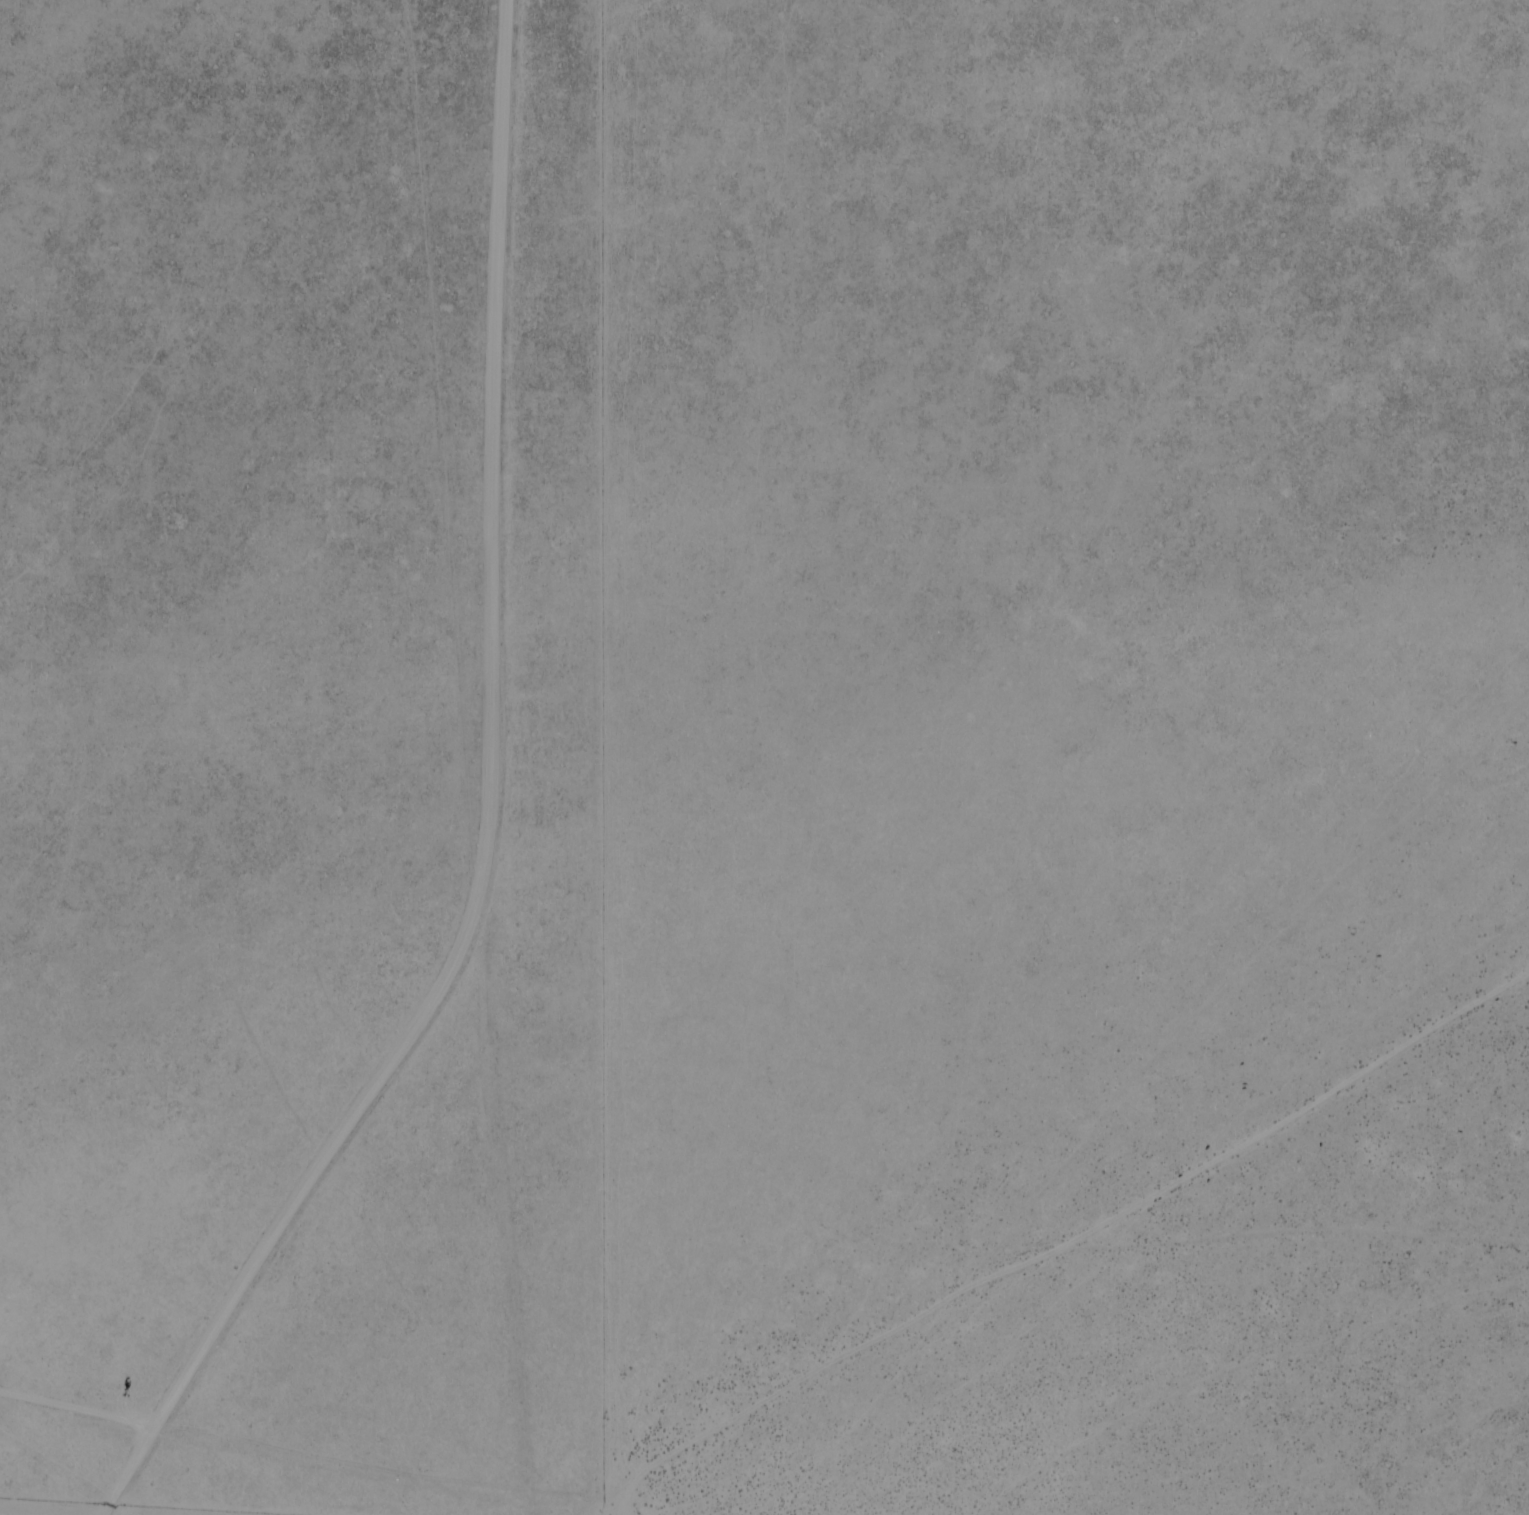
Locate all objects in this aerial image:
road: (496, 811)
road: (1061, 1230)

